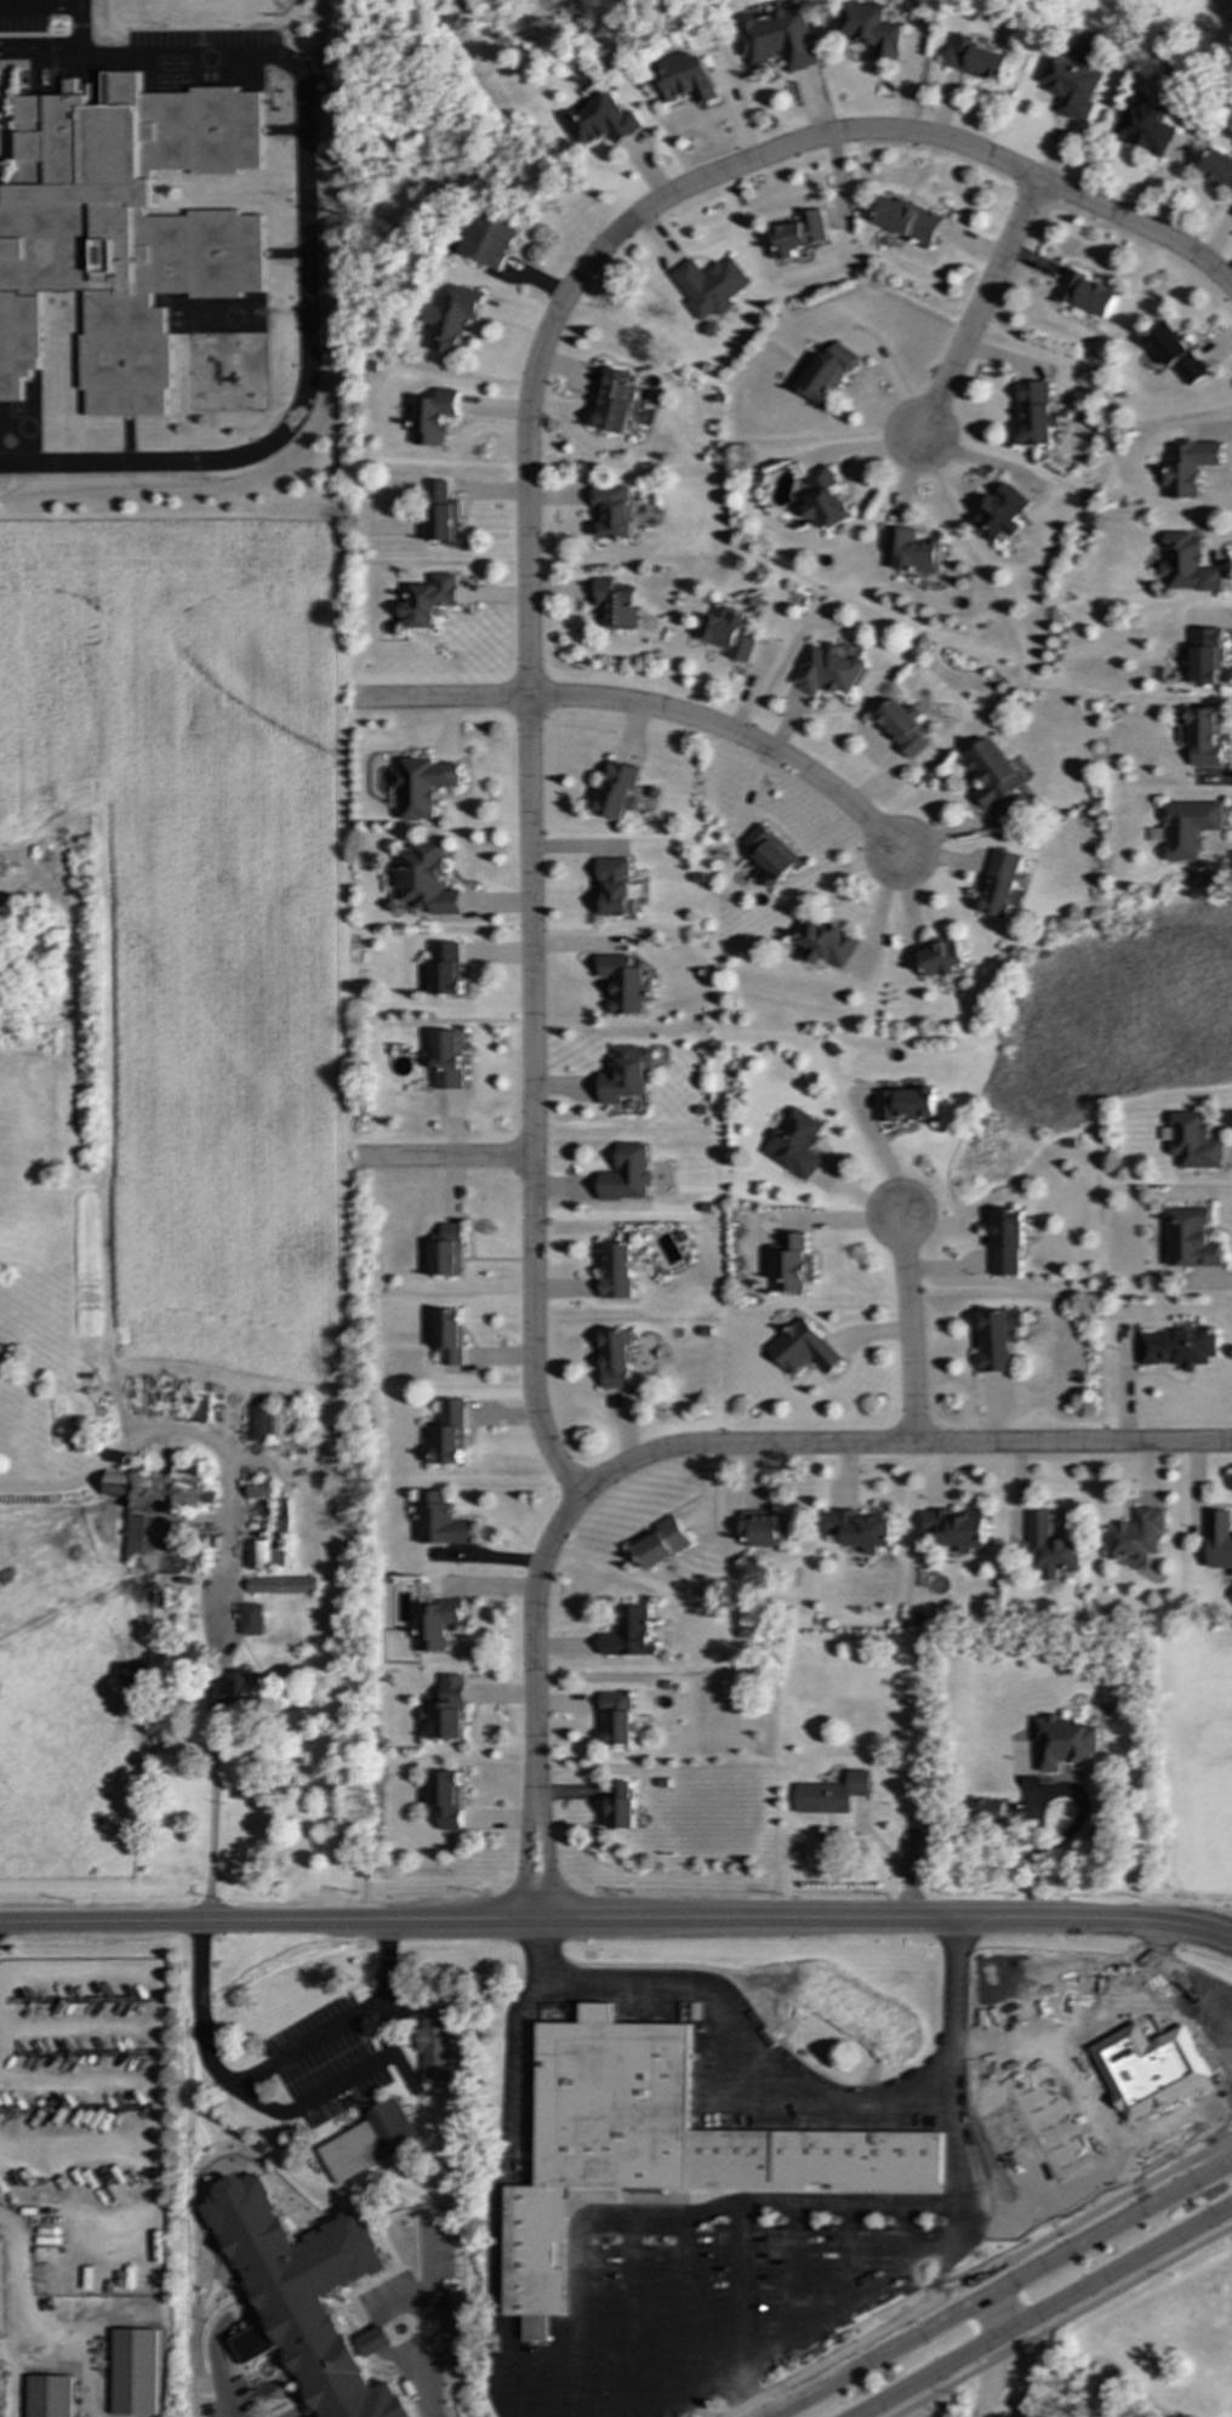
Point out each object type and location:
road: (39, 5)
road: (78, 25)
building: (872, 29)
building: (776, 39)
building: (975, 59)
building: (681, 79)
building: (1070, 85)
building: (599, 118)
building: (1142, 130)
building: (1217, 169)
building: (143, 217)
building: (906, 220)
road: (1139, 229)
building: (798, 233)
building: (489, 239)
building: (12, 249)
road: (303, 249)
building: (709, 286)
building: (1084, 295)
road: (976, 309)
building: (452, 318)
building: (1175, 354)
building: (825, 372)
building: (618, 401)
building: (1033, 415)
building: (433, 418)
building: (1186, 466)
building: (823, 498)
building: (614, 511)
building: (999, 513)
building: (441, 514)
building: (909, 551)
building: (1185, 565)
building: (429, 600)
building: (616, 603)
road: (526, 633)
building: (725, 633)
building: (1202, 656)
building: (825, 669)
road: (438, 700)
building: (900, 726)
road: (731, 735)
building: (1202, 737)
building: (989, 774)
building: (424, 786)
building: (617, 789)
building: (1187, 827)
building: (769, 856)
building: (426, 880)
building: (999, 884)
building: (615, 887)
building: (826, 944)
building: (936, 957)
building: (445, 969)
building: (622, 984)
building: (445, 1059)
building: (623, 1074)
building: (905, 1104)
building: (1191, 1140)
building: (797, 1144)
road: (443, 1161)
building: (626, 1174)
building: (1190, 1238)
building: (1006, 1242)
building: (446, 1250)
building: (791, 1264)
building: (616, 1271)
road: (909, 1330)
building: (450, 1336)
building: (998, 1339)
building: (804, 1349)
building: (1177, 1349)
building: (616, 1359)
building: (257, 1423)
building: (451, 1433)
road: (1156, 1444)
road: (826, 1446)
building: (118, 1484)
building: (166, 1490)
building: (259, 1492)
building: (441, 1521)
building: (768, 1528)
building: (859, 1529)
building: (957, 1529)
building: (133, 1537)
building: (1136, 1537)
building: (1220, 1539)
building: (662, 1544)
building: (1049, 1547)
building: (264, 1554)
building: (281, 1585)
building: (251, 1619)
building: (438, 1624)
road: (535, 1625)
building: (629, 1632)
building: (235, 1689)
building: (447, 1711)
building: (618, 1717)
road: (212, 1743)
building: (1063, 1743)
building: (832, 1794)
building: (447, 1799)
road: (1042, 1801)
building: (621, 1805)
building: (988, 1811)
road: (524, 1845)
road: (546, 1846)
road: (909, 1877)
road: (617, 1921)
road: (381, 2013)
building: (1120, 2030)
road: (297, 2042)
building: (435, 2042)
road: (1168, 2042)
road: (781, 2077)
road: (1073, 2079)
building: (369, 2142)
building: (661, 2148)
road: (65, 2149)
road: (1045, 2168)
road: (496, 2197)
road: (681, 2218)
road: (977, 2276)
road: (999, 2288)
road: (738, 2291)
building: (307, 2298)
road: (884, 2298)
road: (1039, 2311)
road: (997, 2313)
building: (0, 2318)
road: (1060, 2320)
road: (427, 2326)
building: (375, 2342)
building: (252, 2344)
road: (215, 2359)
building: (135, 2372)
building: (50, 2396)
road: (732, 2399)

